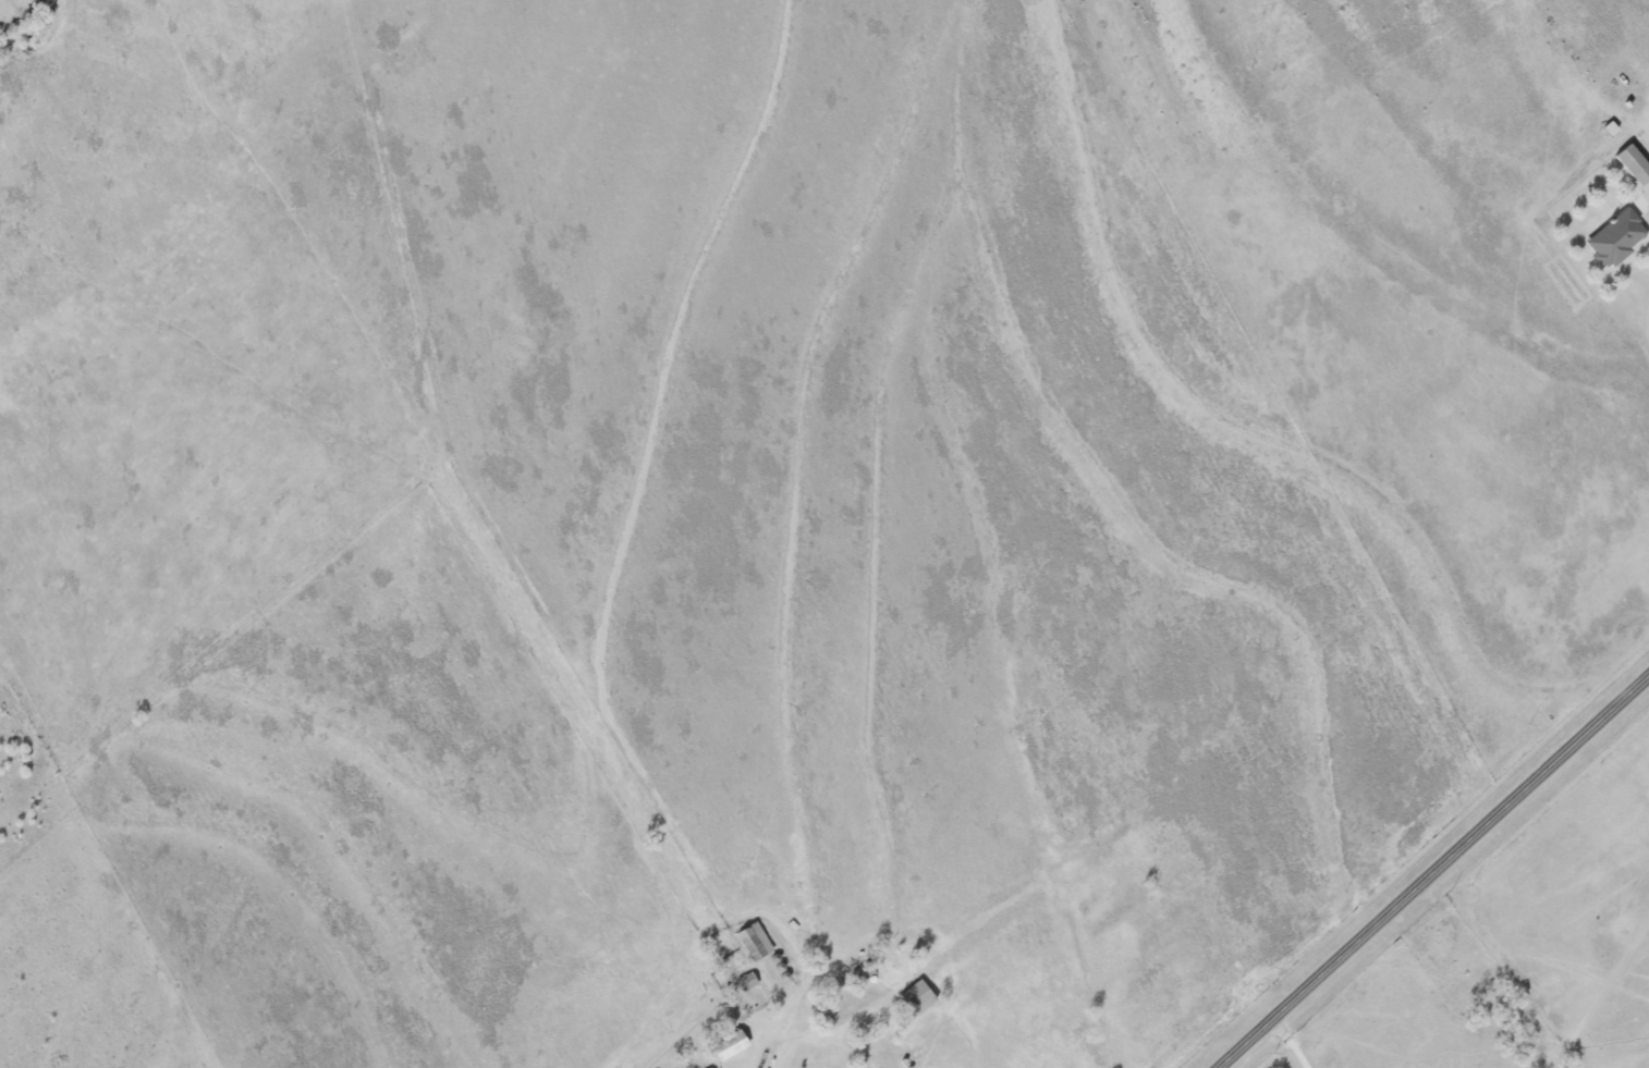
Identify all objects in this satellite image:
road: (1648, 150)
building: (1634, 164)
building: (1615, 238)
road: (1642, 315)
road: (1434, 874)
building: (755, 942)
building: (918, 997)
road: (810, 1042)
building: (730, 1045)

